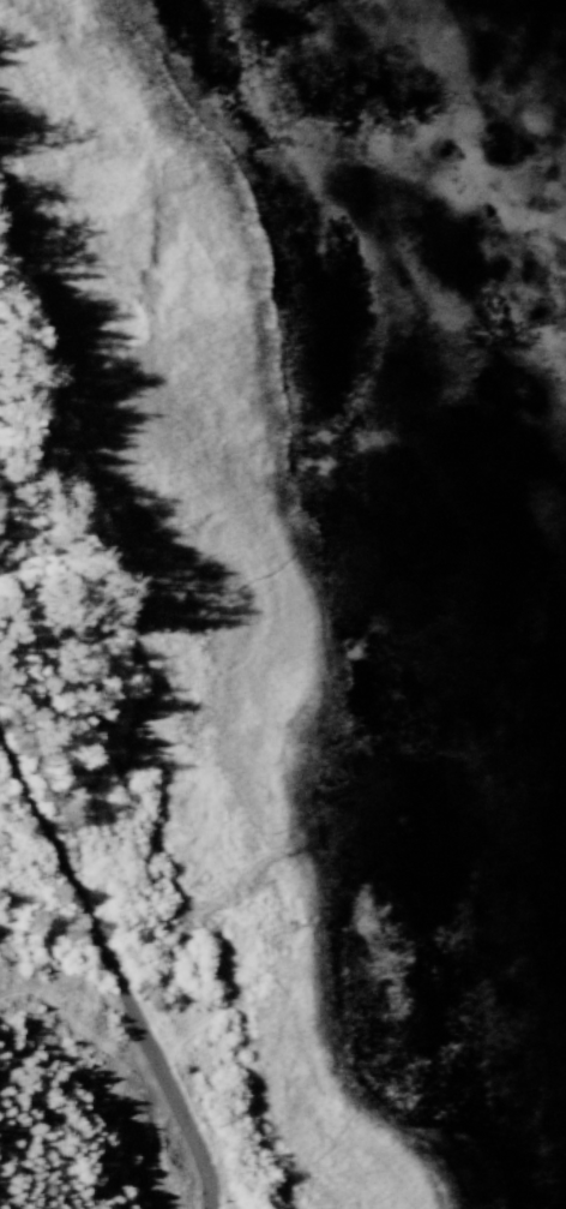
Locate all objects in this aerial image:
road: (114, 964)

